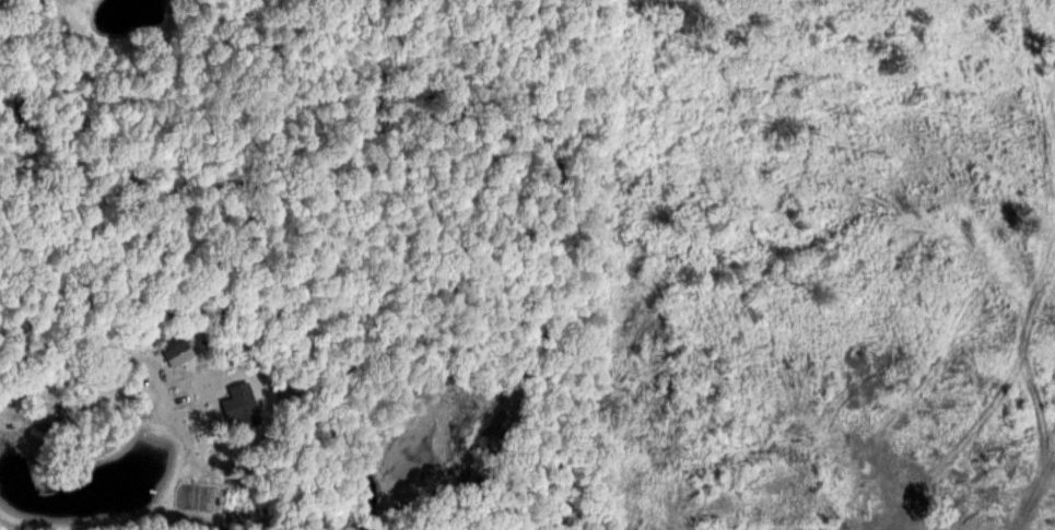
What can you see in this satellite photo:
building: (173, 345)
road: (153, 364)
road: (51, 381)

